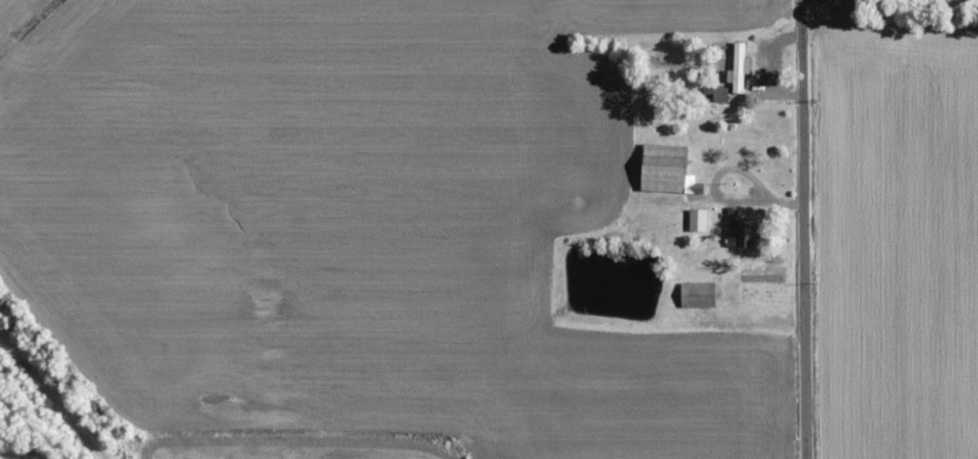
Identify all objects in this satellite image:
building: (737, 66)
building: (718, 92)
building: (663, 167)
road: (727, 197)
road: (784, 199)
building: (696, 218)
road: (800, 229)
building: (734, 230)

